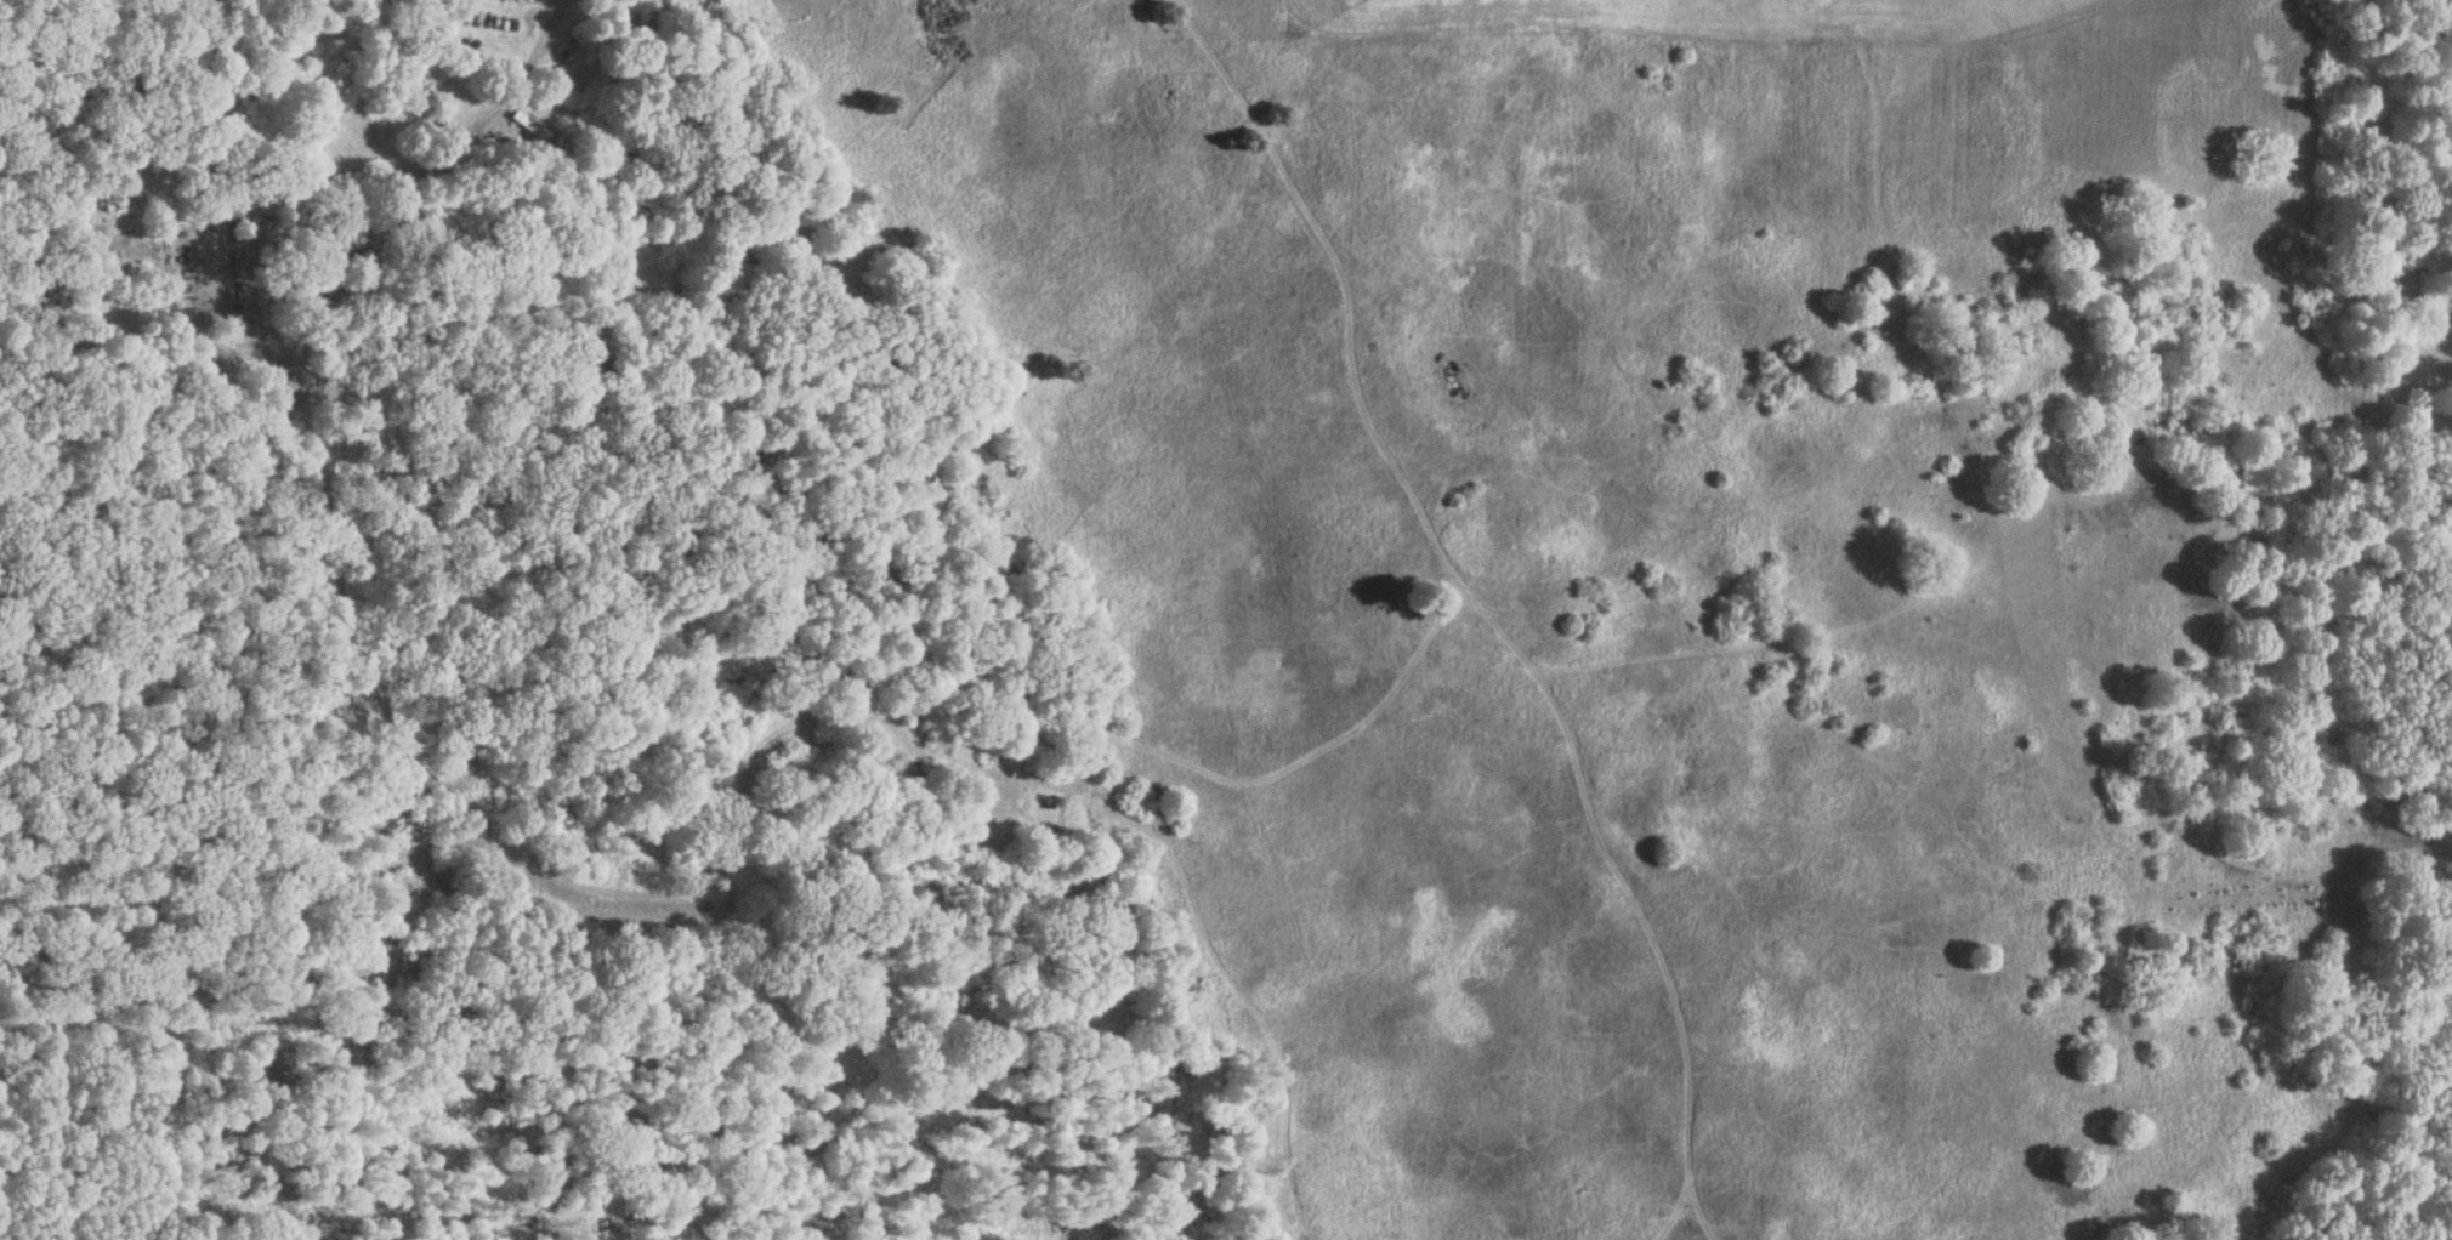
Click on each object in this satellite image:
building: (1048, 798)

